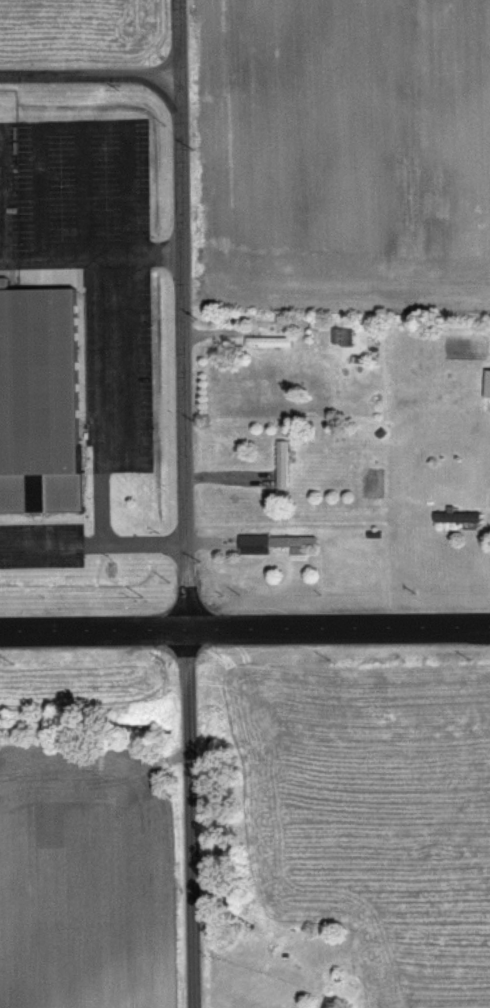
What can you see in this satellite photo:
road: (91, 70)
road: (84, 122)
road: (145, 250)
road: (187, 313)
building: (342, 335)
building: (269, 340)
building: (487, 382)
road: (104, 385)
building: (42, 400)
building: (279, 469)
building: (457, 516)
building: (277, 542)
road: (244, 627)
road: (190, 818)
building: (329, 1002)

